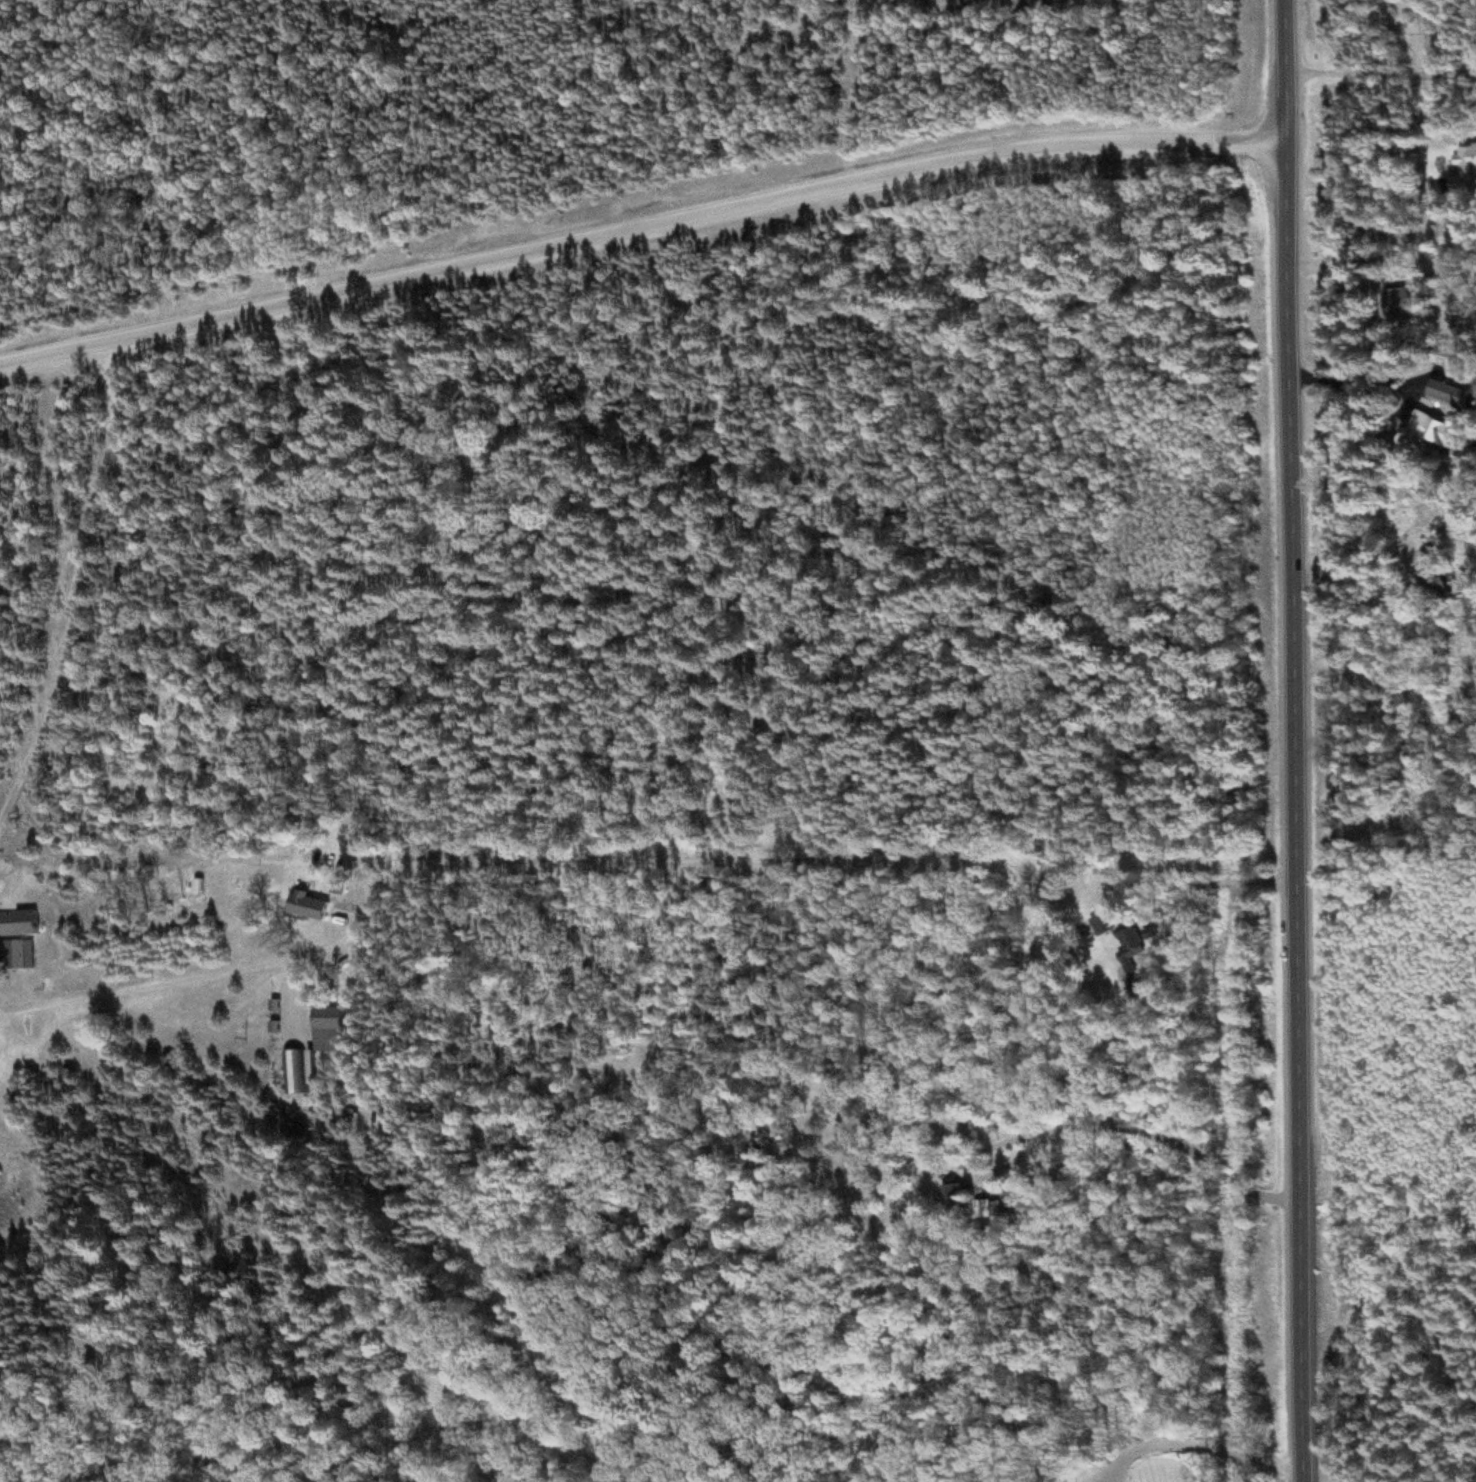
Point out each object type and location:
building: (1463, 170)
road: (642, 231)
building: (1387, 305)
building: (1446, 394)
building: (1421, 435)
road: (64, 563)
building: (1431, 582)
road: (1299, 740)
building: (345, 887)
building: (318, 908)
building: (22, 925)
building: (1118, 941)
building: (17, 957)
building: (294, 1073)
road: (1191, 1145)
building: (950, 1196)

